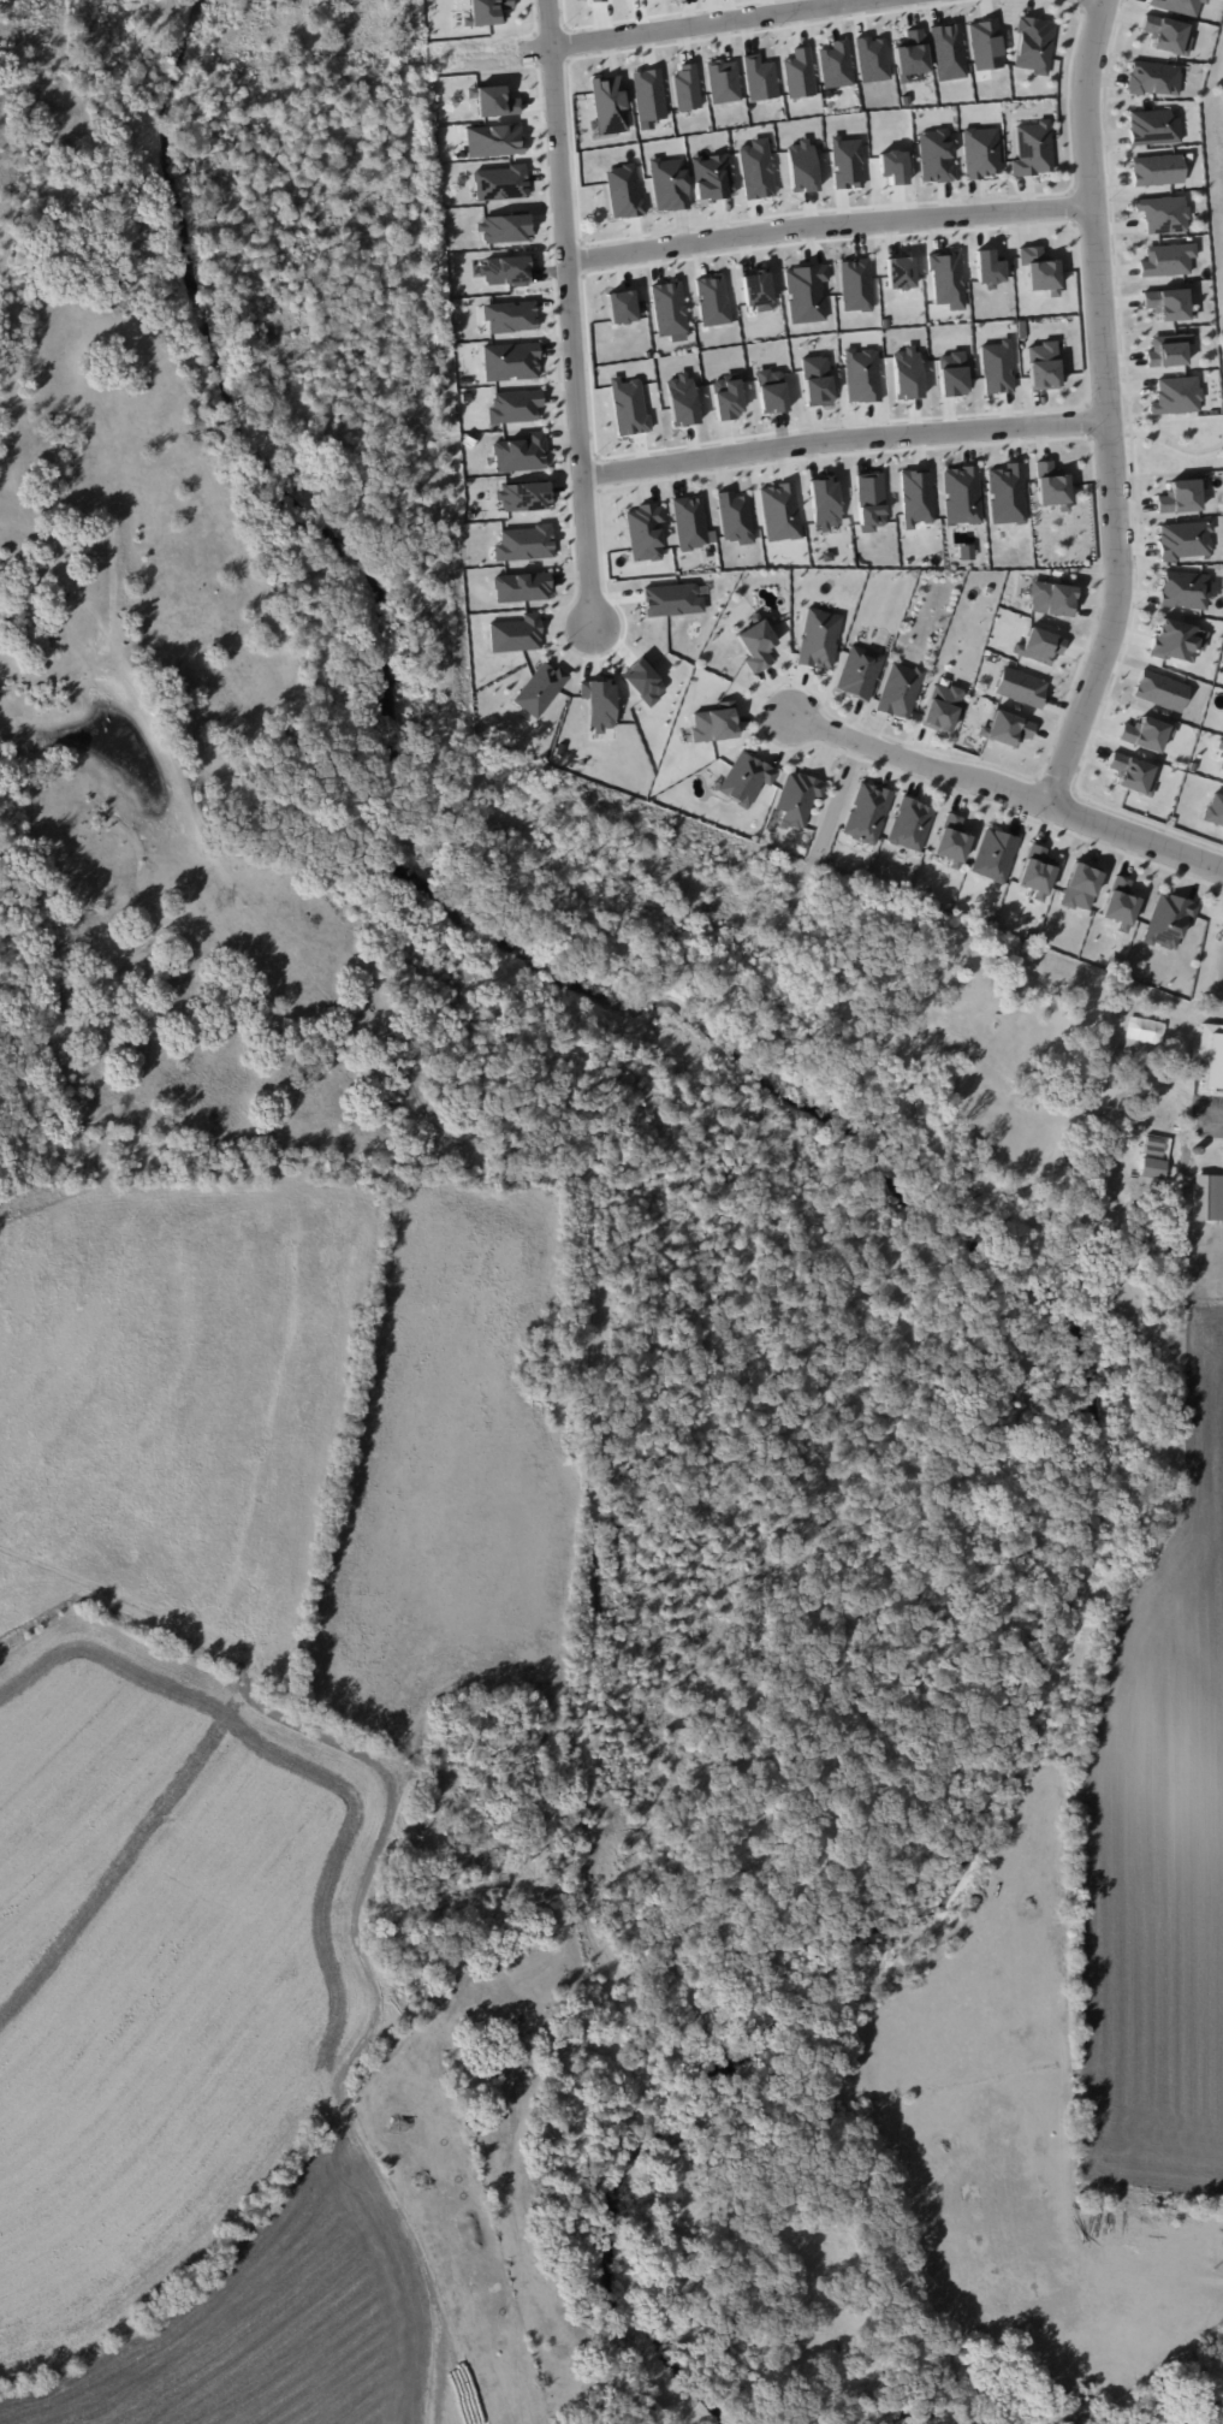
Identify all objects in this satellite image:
building: (1177, 5)
building: (487, 11)
road: (695, 24)
building: (1166, 34)
building: (984, 43)
building: (1033, 45)
building: (946, 51)
building: (910, 54)
building: (872, 59)
building: (836, 64)
building: (798, 73)
building: (760, 77)
building: (1153, 78)
road: (1221, 79)
building: (723, 81)
building: (687, 88)
building: (648, 94)
building: (493, 101)
building: (608, 103)
building: (1153, 128)
building: (493, 140)
building: (1032, 148)
building: (980, 152)
building: (934, 155)
building: (847, 162)
building: (801, 165)
building: (892, 166)
building: (755, 168)
building: (1156, 170)
building: (499, 183)
building: (1163, 213)
road: (829, 225)
building: (503, 227)
building: (1166, 259)
building: (987, 268)
building: (505, 269)
building: (1038, 269)
building: (898, 272)
building: (946, 279)
building: (855, 284)
building: (756, 290)
building: (714, 298)
building: (1168, 303)
building: (624, 308)
building: (671, 309)
road: (572, 313)
building: (511, 314)
building: (1166, 350)
building: (512, 360)
building: (1041, 366)
building: (996, 367)
building: (865, 372)
building: (906, 373)
building: (951, 374)
building: (820, 380)
building: (773, 390)
building: (1176, 395)
building: (685, 397)
building: (731, 397)
building: (517, 405)
building: (631, 405)
road: (1108, 407)
road: (1090, 420)
road: (1110, 434)
road: (844, 438)
road: (1088, 438)
road: (1023, 441)
road: (1176, 444)
building: (523, 452)
building: (1055, 485)
building: (964, 493)
building: (1009, 494)
building: (528, 496)
building: (919, 496)
building: (1181, 496)
building: (873, 500)
building: (827, 502)
building: (780, 510)
building: (736, 515)
building: (690, 518)
building: (647, 531)
building: (1183, 540)
building: (528, 541)
building: (964, 551)
building: (523, 586)
building: (1183, 589)
building: (675, 598)
building: (1051, 598)
building: (518, 632)
building: (818, 638)
building: (1176, 640)
building: (755, 645)
building: (1038, 645)
building: (859, 671)
building: (646, 680)
building: (544, 687)
building: (1020, 687)
building: (900, 689)
building: (1160, 691)
building: (601, 703)
building: (940, 707)
building: (714, 723)
building: (1008, 728)
building: (1145, 733)
building: (1221, 765)
building: (1130, 772)
road: (1037, 777)
building: (746, 778)
road: (1055, 786)
road: (1007, 789)
building: (797, 798)
building: (1213, 808)
building: (866, 813)
road: (1146, 819)
building: (910, 824)
building: (950, 841)
building: (993, 854)
building: (1035, 871)
building: (1080, 887)
building: (1120, 902)
building: (1168, 919)
building: (1154, 1029)
building: (1160, 1107)
road: (1216, 1115)
building: (1203, 1201)

